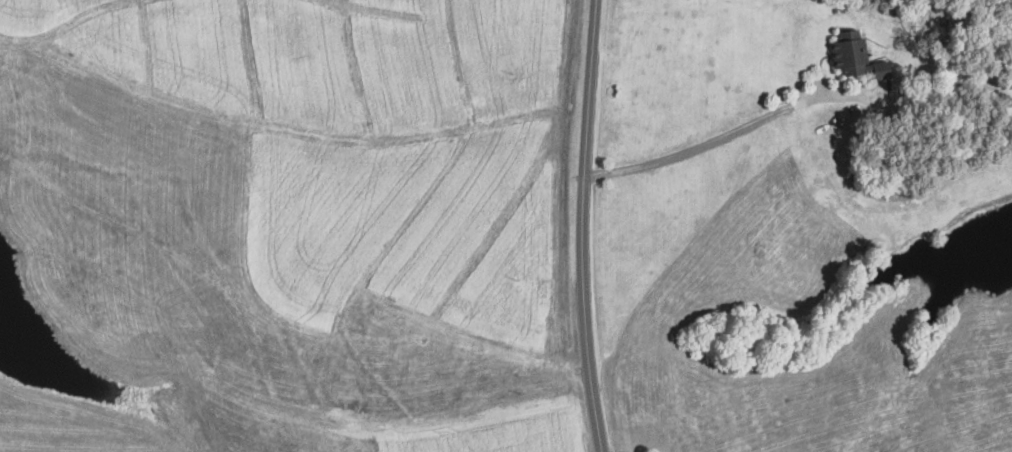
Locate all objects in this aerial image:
building: (858, 56)
road: (719, 136)
road: (592, 226)

